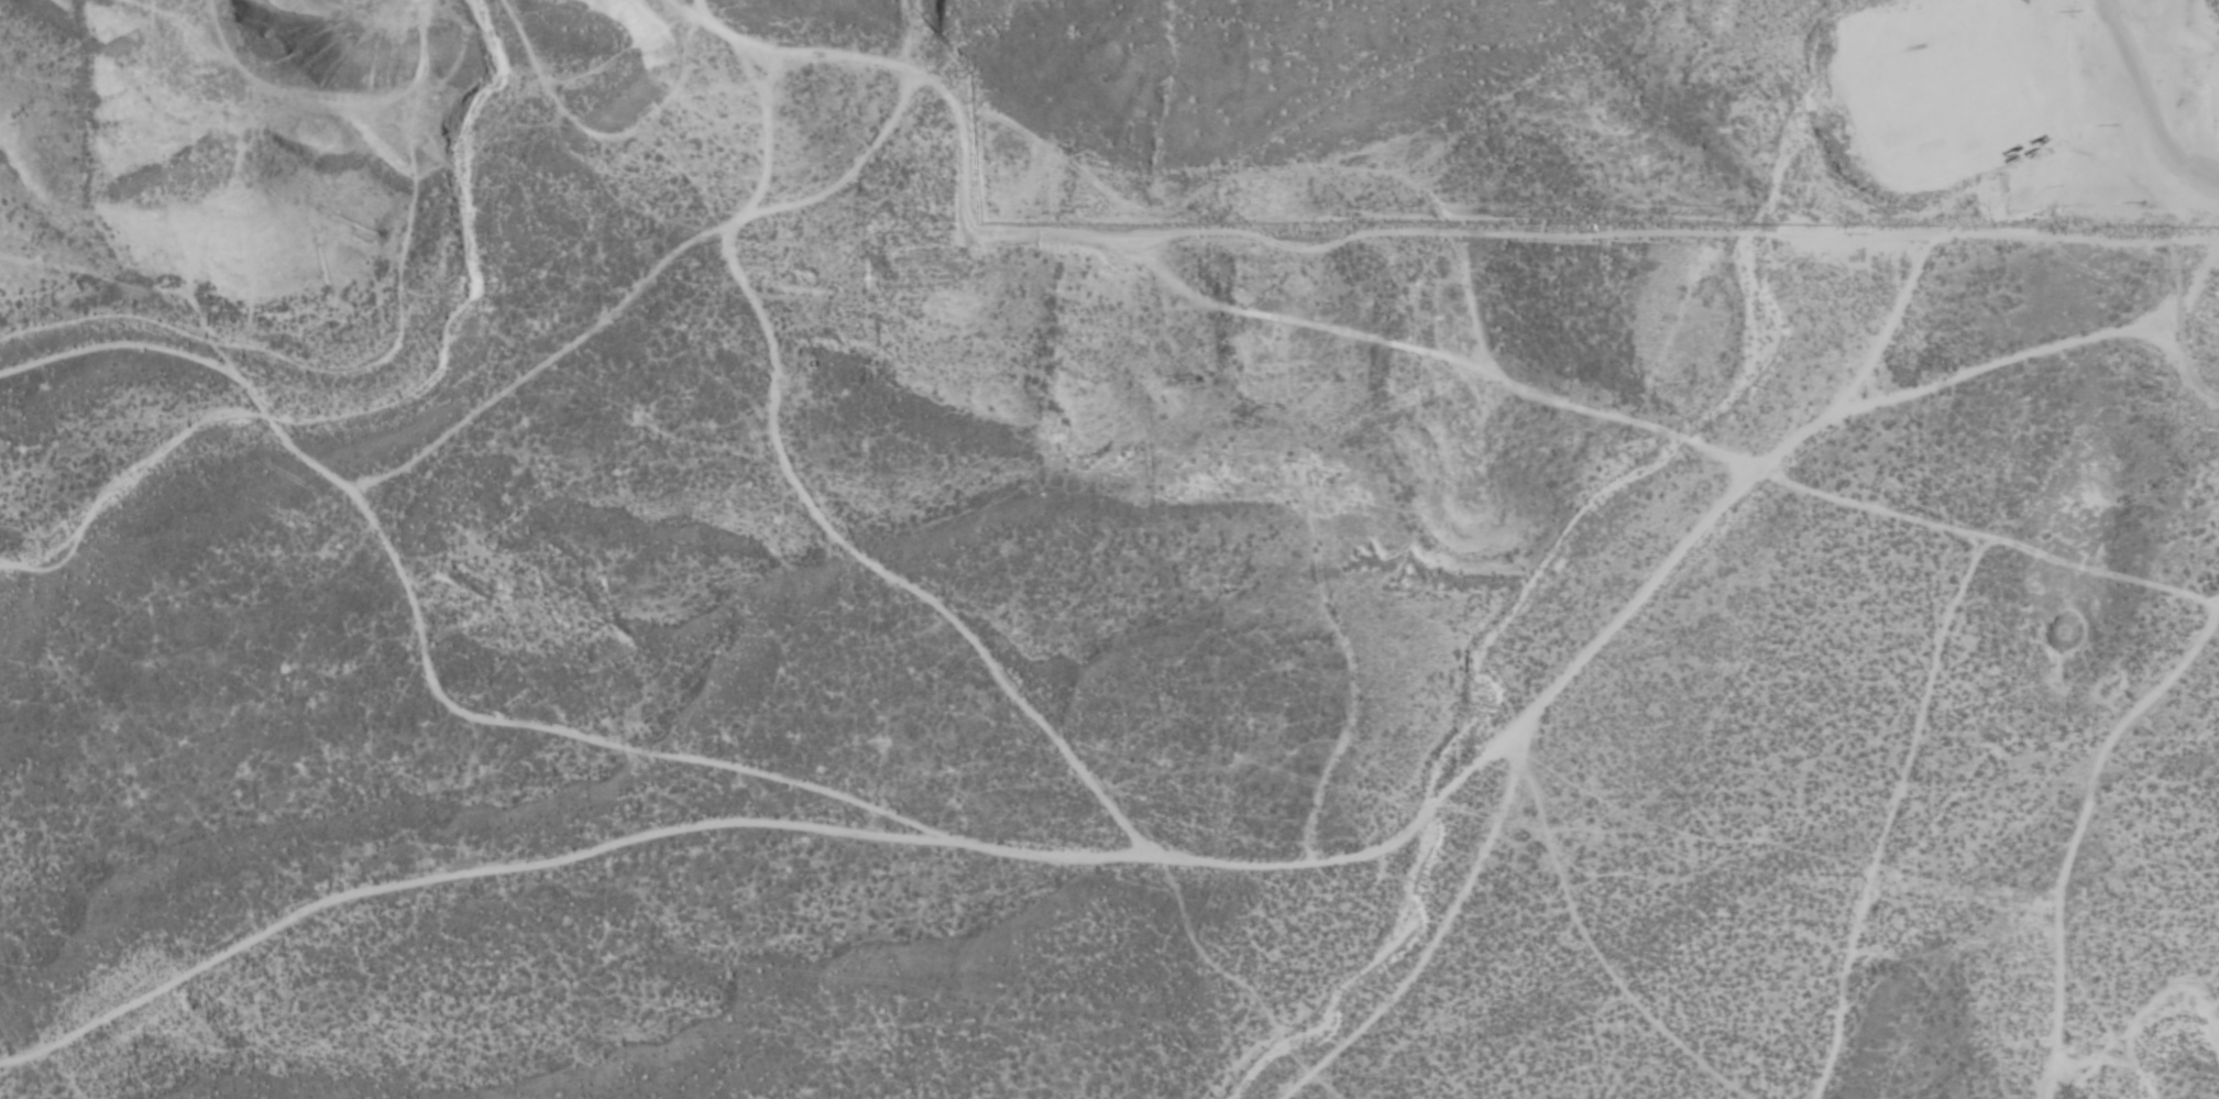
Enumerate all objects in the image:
road: (923, 590)
road: (557, 862)

